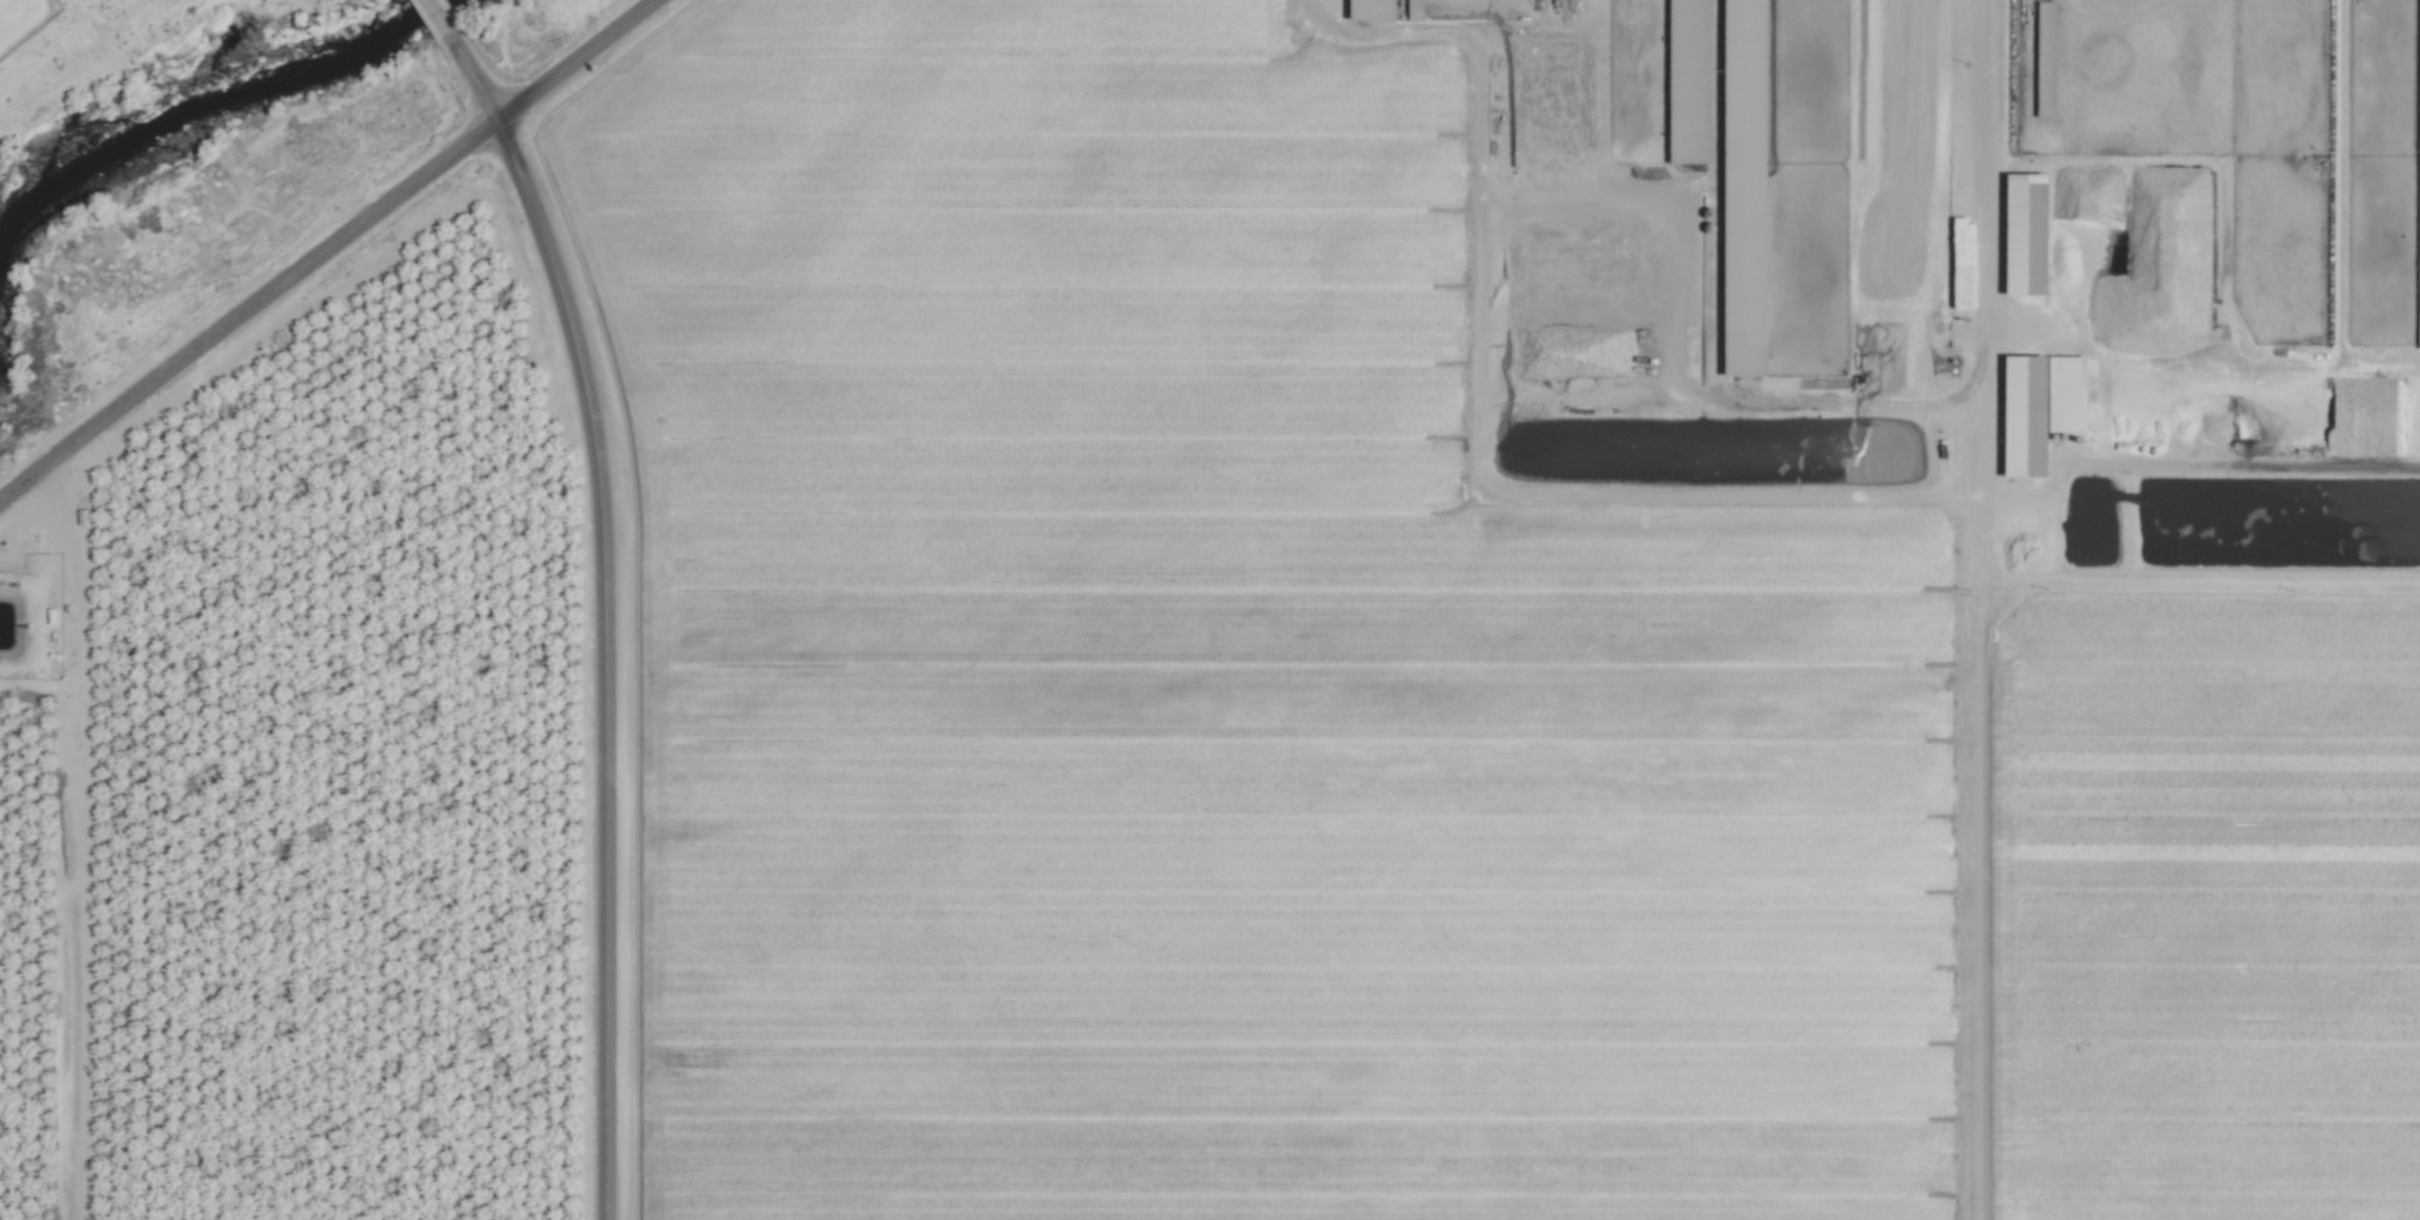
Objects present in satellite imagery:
road: (435, 16)
airport: (23, 19)
road: (470, 76)
building: (2025, 233)
road: (325, 248)
building: (2419, 295)
road: (1987, 301)
building: (2039, 407)
building: (81, 516)
crop: (1280, 640)
road: (603, 663)

